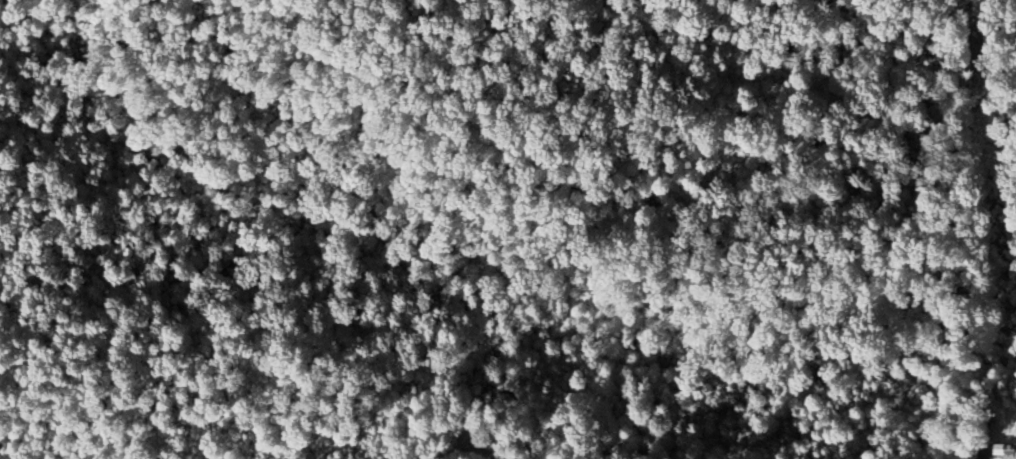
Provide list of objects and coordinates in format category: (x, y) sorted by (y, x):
road: (266, 2)
building: (998, 450)

